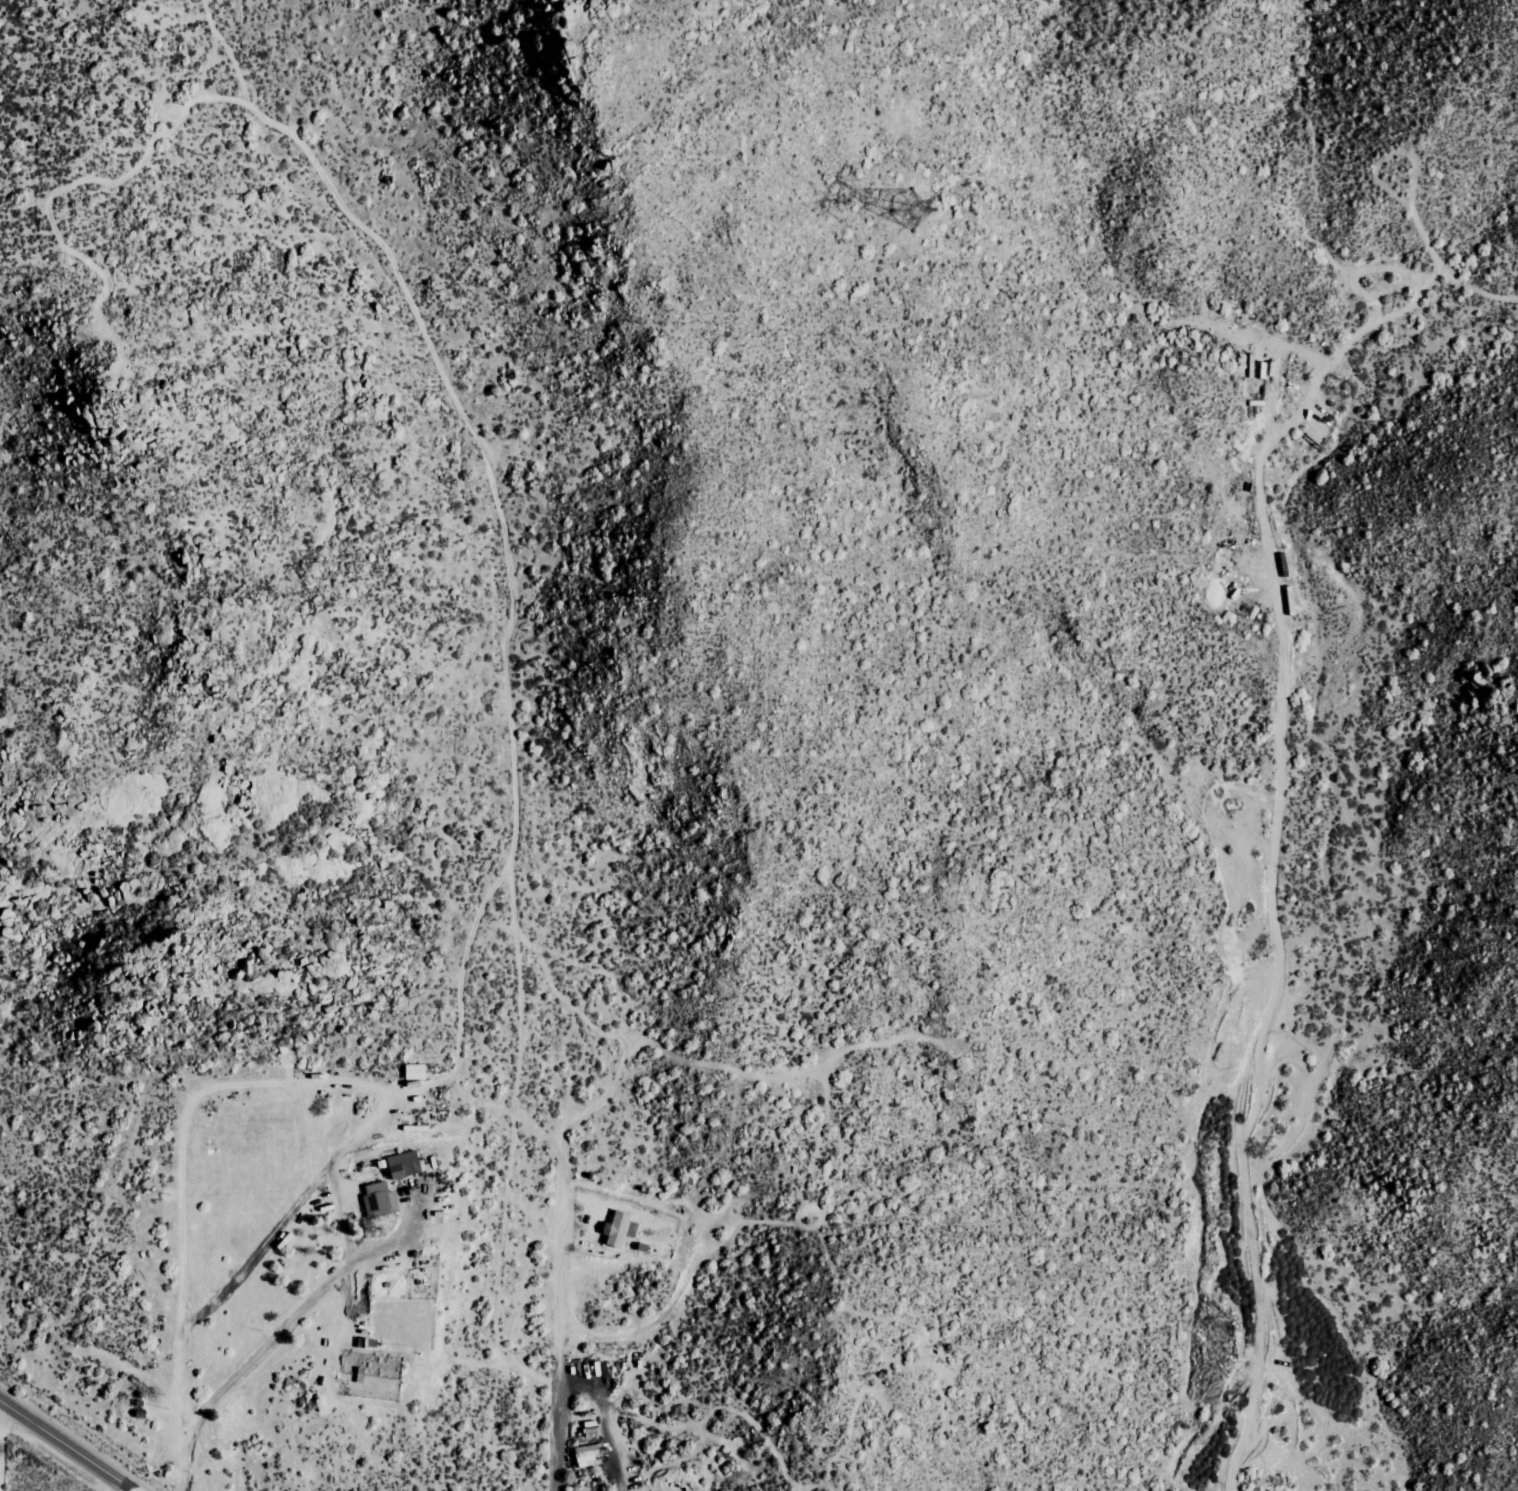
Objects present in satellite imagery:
power tower: (935, 205)
building: (415, 1072)
building: (404, 1164)
building: (380, 1199)
building: (621, 1228)
road: (257, 1365)
road: (71, 1445)
road: (1, 1446)
building: (588, 1455)
road: (560, 1472)

